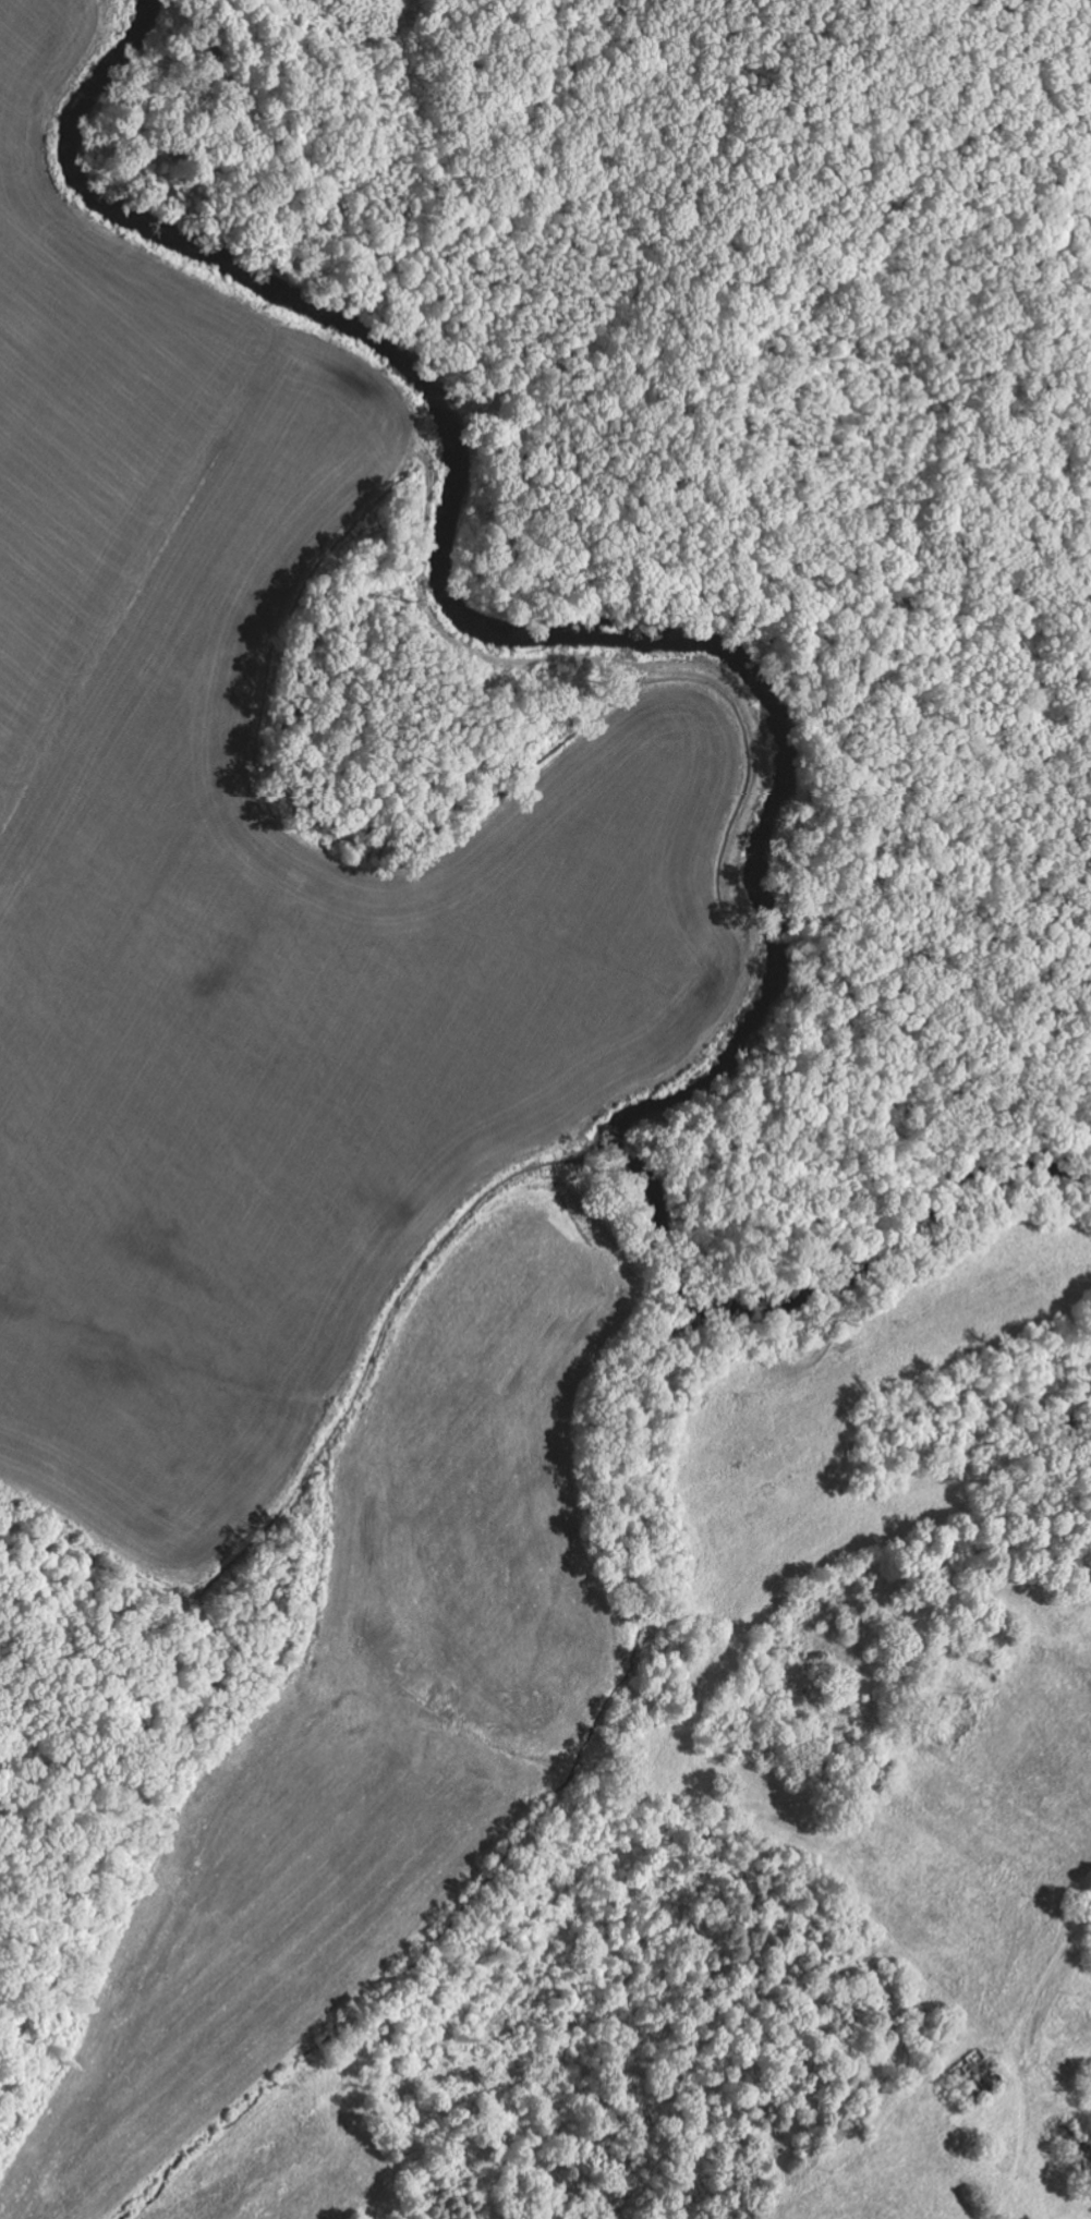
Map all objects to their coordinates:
river: (755, 674)
road: (1025, 2057)

